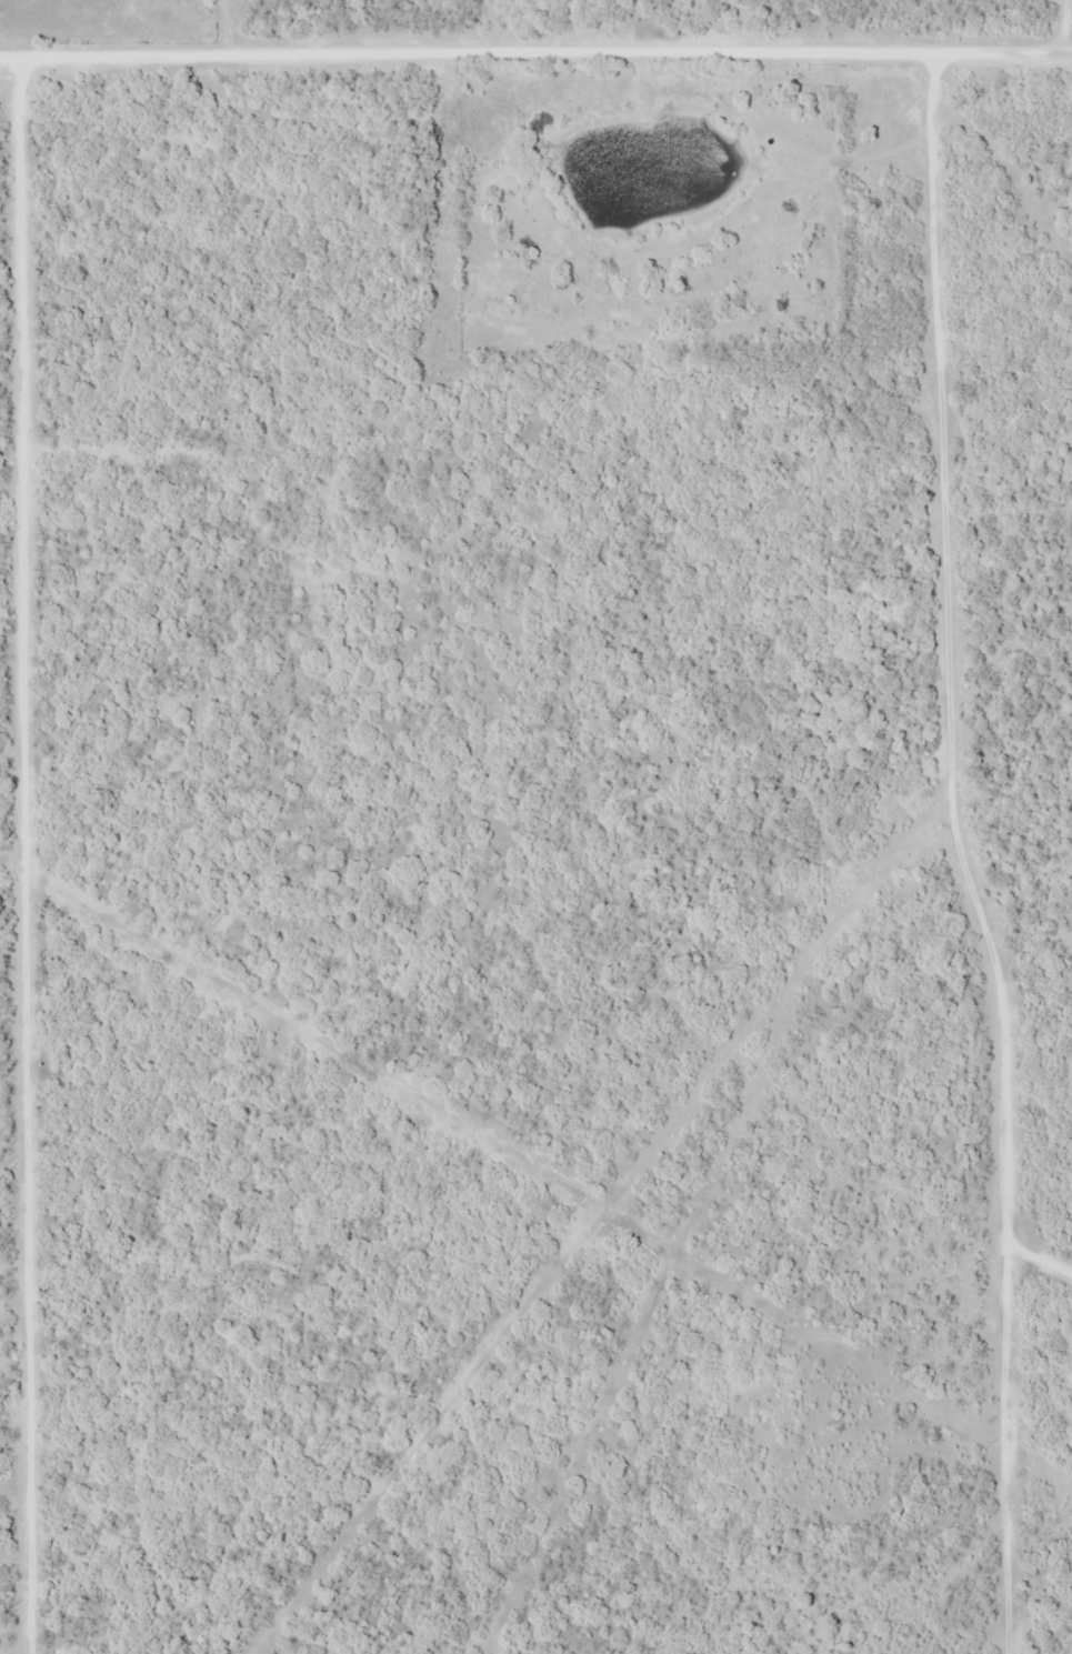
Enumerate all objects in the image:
road: (1058, 28)
road: (535, 56)
road: (956, 855)
road: (23, 860)
road: (939, 873)

